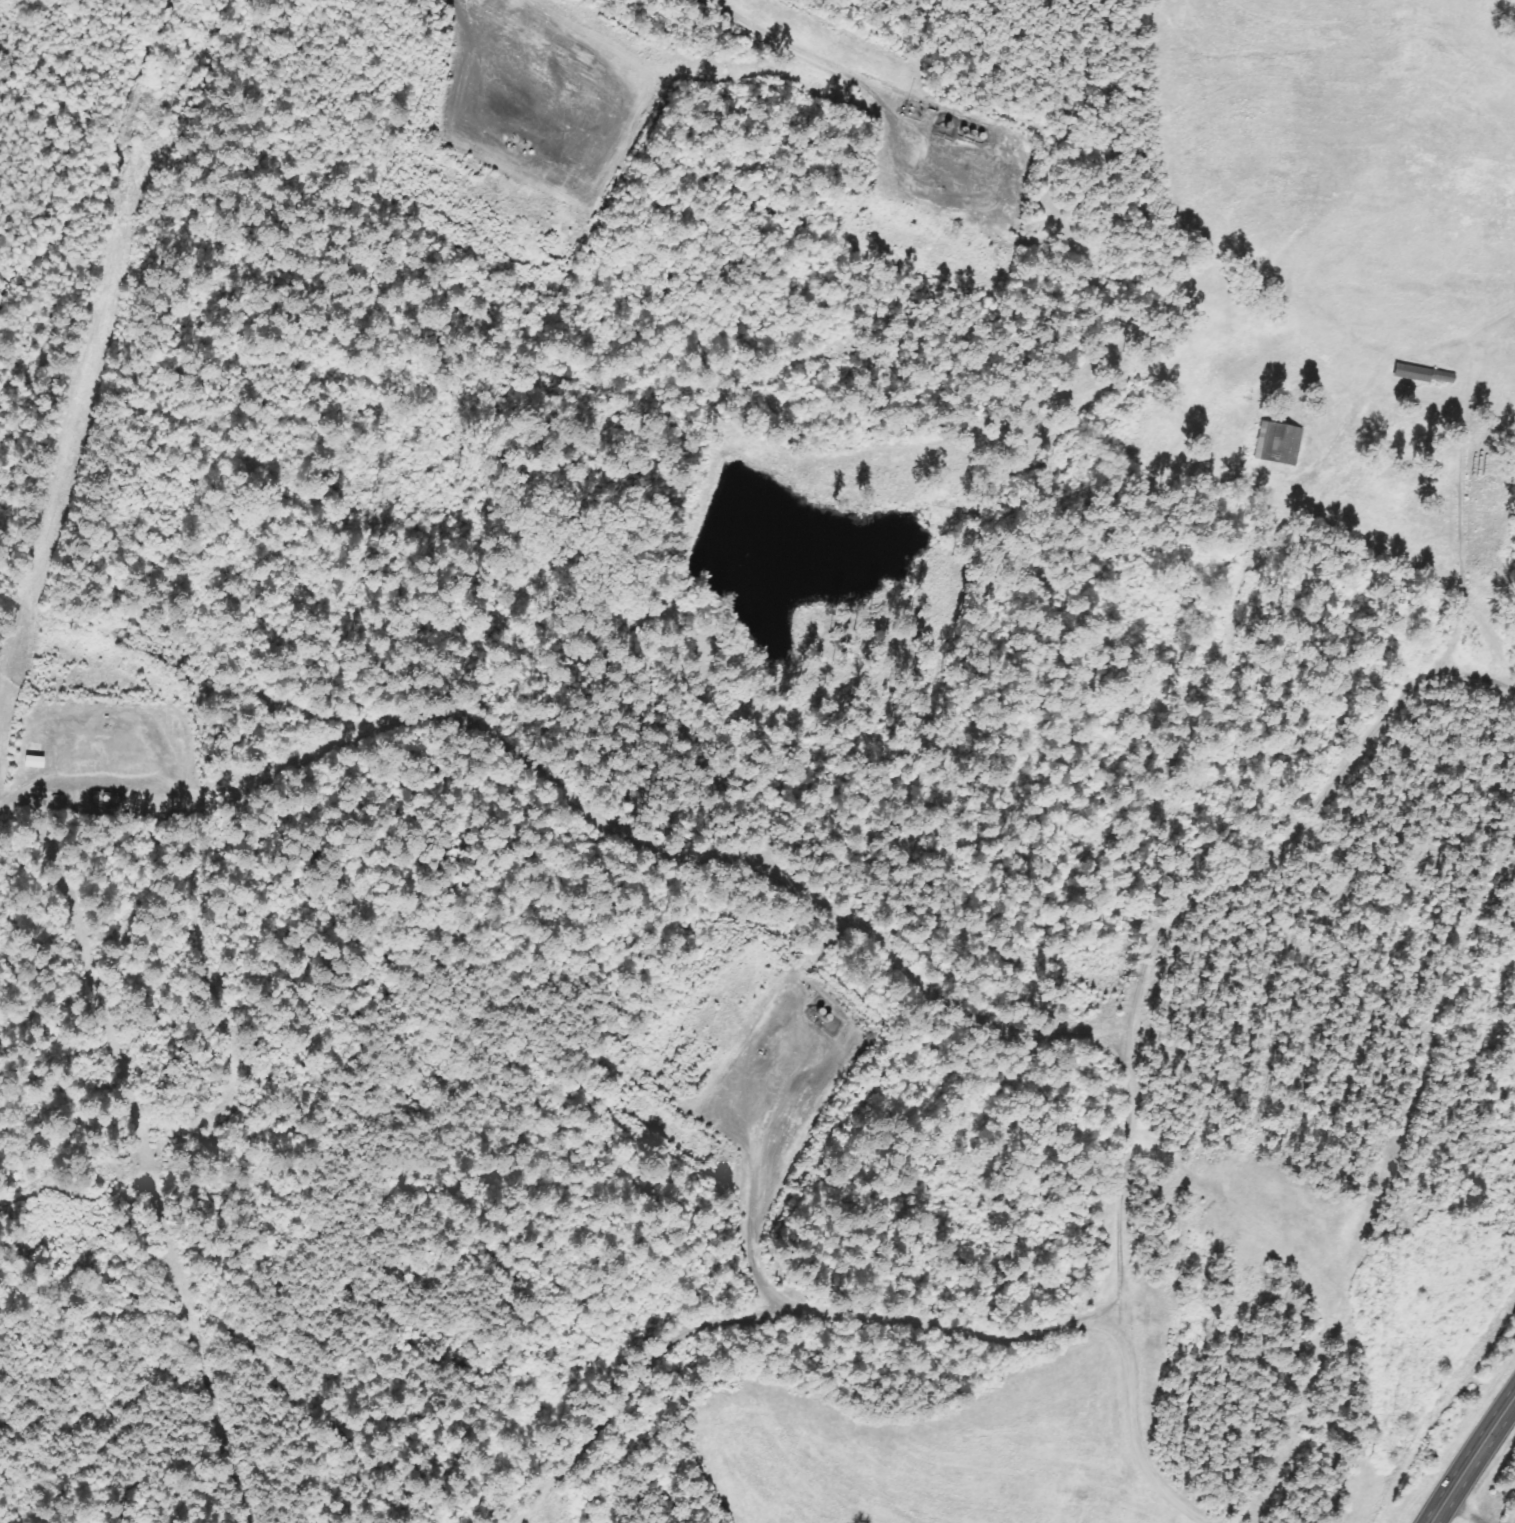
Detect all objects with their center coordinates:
building: (1412, 373)
building: (1277, 444)
road: (1471, 1459)

